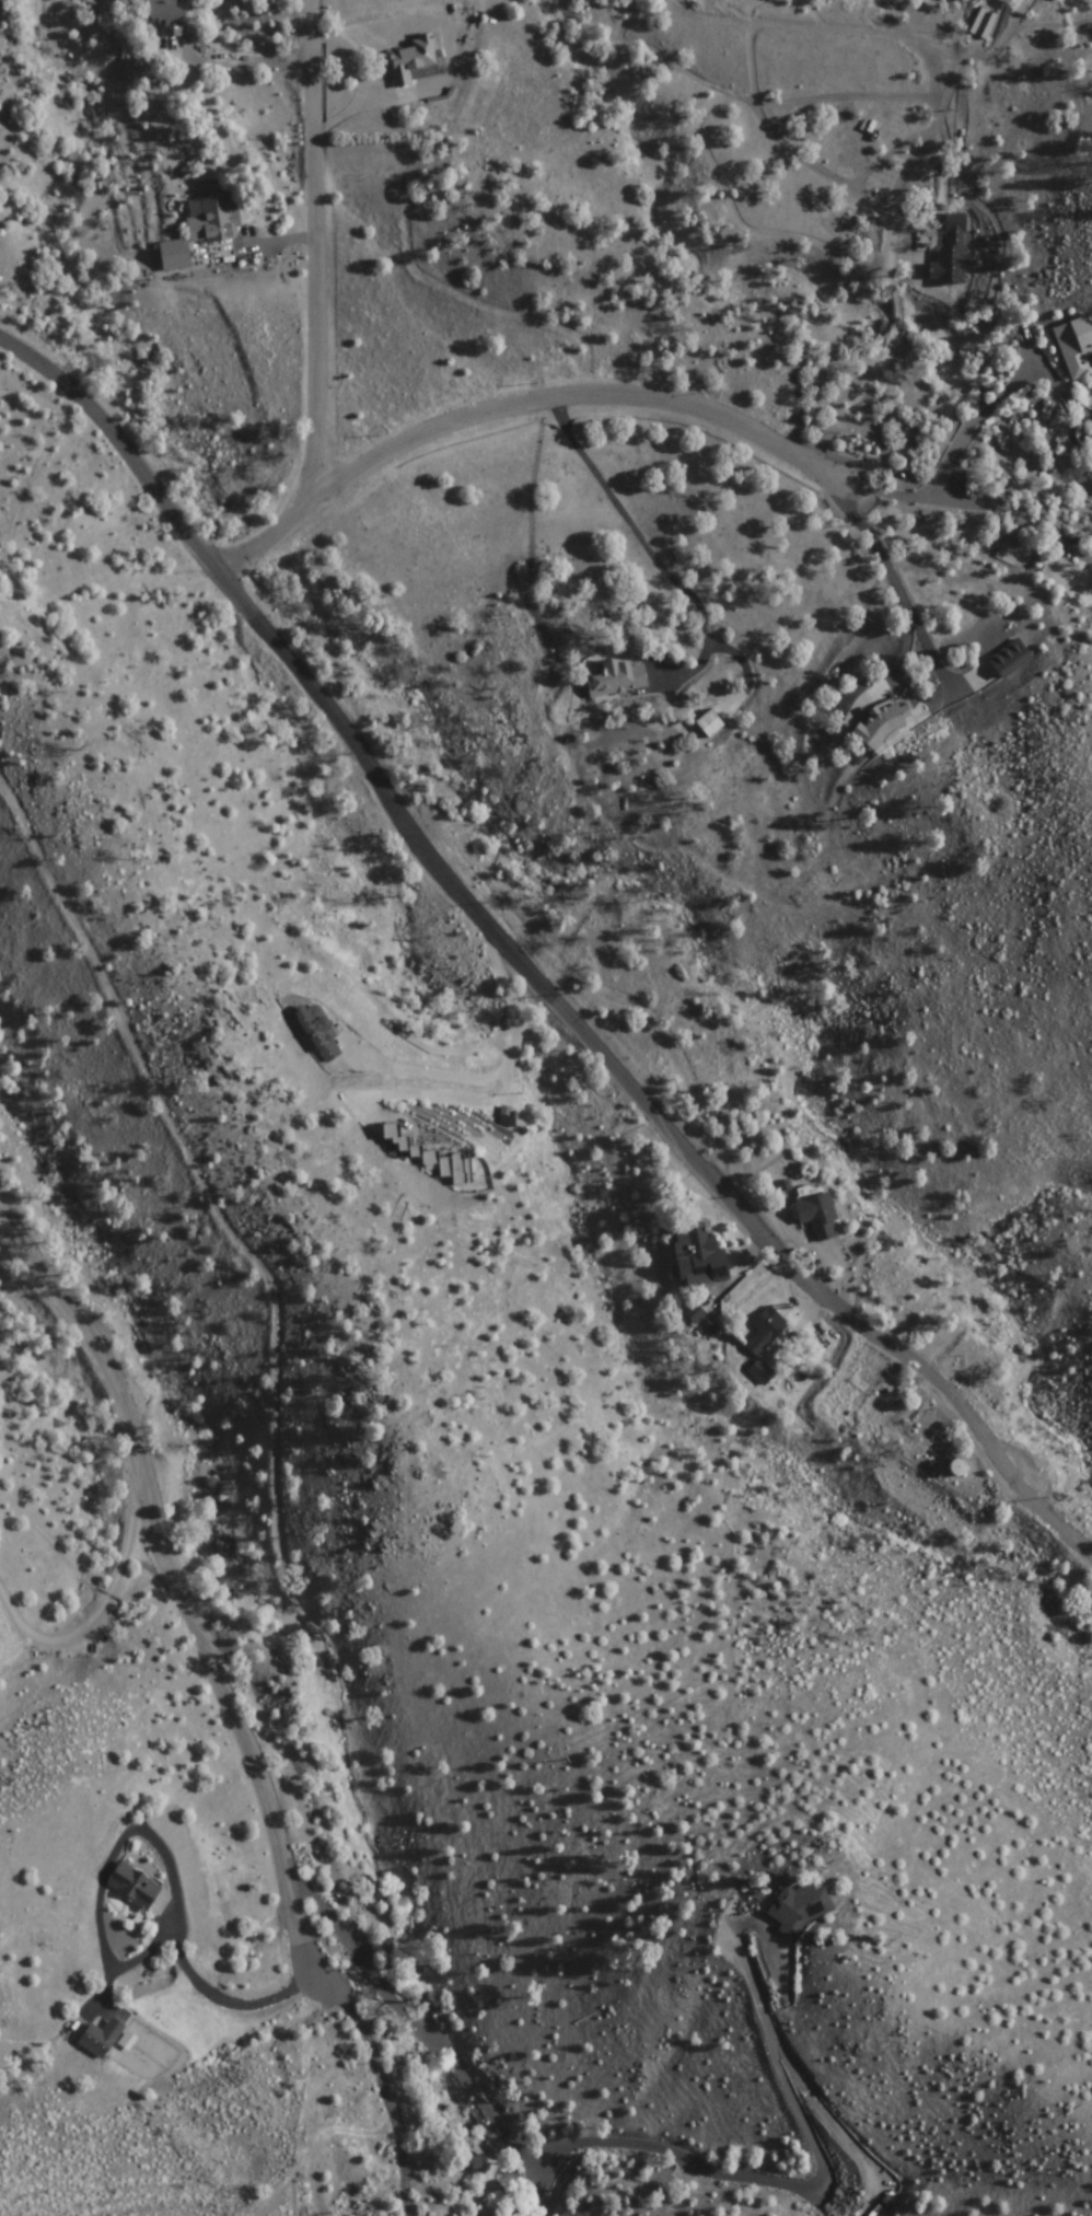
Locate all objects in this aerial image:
building: (166, 15)
building: (415, 59)
building: (204, 230)
building: (949, 262)
road: (434, 280)
building: (1076, 345)
road: (897, 351)
road: (592, 387)
road: (525, 413)
building: (1010, 658)
building: (618, 678)
building: (711, 723)
building: (885, 726)
road: (526, 960)
building: (320, 1032)
building: (757, 1064)
building: (425, 1153)
building: (821, 1214)
building: (699, 1254)
building: (768, 1330)
building: (763, 1371)
road: (147, 1489)
building: (133, 1886)
building: (803, 1907)
building: (102, 2038)

